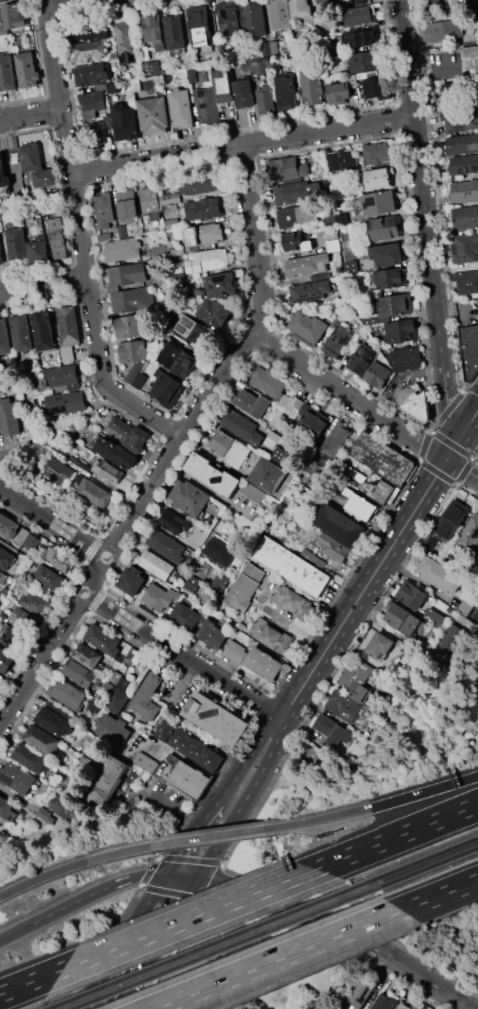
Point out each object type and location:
building: (470, 0)
road: (61, 2)
building: (327, 2)
building: (360, 2)
building: (432, 4)
building: (455, 5)
building: (300, 8)
building: (278, 14)
building: (355, 16)
building: (12, 17)
building: (251, 18)
building: (228, 19)
building: (199, 25)
building: (325, 27)
building: (446, 29)
building: (86, 30)
building: (153, 31)
building: (173, 31)
building: (358, 38)
building: (124, 42)
building: (270, 47)
building: (90, 49)
building: (220, 49)
building: (113, 54)
building: (206, 55)
building: (290, 55)
building: (471, 59)
building: (364, 61)
building: (256, 64)
road: (434, 65)
building: (151, 68)
building: (27, 69)
building: (6, 72)
building: (91, 73)
building: (191, 75)
building: (136, 84)
building: (222, 85)
building: (312, 86)
building: (112, 87)
building: (378, 87)
building: (454, 90)
building: (287, 92)
building: (243, 93)
building: (339, 94)
building: (265, 97)
building: (92, 100)
building: (206, 107)
building: (180, 108)
road: (31, 114)
building: (153, 116)
building: (461, 119)
building: (108, 120)
building: (124, 122)
building: (97, 133)
road: (66, 137)
road: (242, 144)
building: (462, 144)
building: (377, 153)
building: (30, 156)
building: (342, 160)
building: (463, 164)
building: (286, 169)
building: (3, 174)
building: (377, 177)
building: (44, 178)
building: (197, 184)
road: (421, 185)
building: (464, 191)
building: (293, 192)
building: (19, 195)
building: (169, 198)
building: (149, 199)
building: (379, 202)
building: (127, 205)
building: (103, 209)
building: (203, 209)
building: (297, 216)
building: (465, 217)
building: (342, 219)
building: (384, 228)
building: (121, 231)
building: (204, 234)
building: (104, 237)
building: (292, 237)
building: (58, 238)
road: (256, 240)
building: (16, 243)
building: (298, 245)
building: (333, 245)
building: (352, 245)
building: (175, 248)
building: (465, 248)
building: (122, 249)
building: (158, 250)
building: (38, 251)
building: (387, 254)
building: (349, 256)
building: (1, 257)
building: (207, 260)
building: (307, 264)
building: (350, 267)
building: (127, 274)
building: (390, 278)
building: (164, 280)
building: (466, 281)
road: (44, 282)
building: (221, 285)
building: (309, 291)
building: (131, 300)
road: (461, 300)
building: (390, 308)
building: (214, 312)
building: (67, 321)
building: (130, 324)
building: (308, 326)
building: (190, 328)
building: (42, 329)
building: (401, 330)
building: (20, 332)
building: (339, 336)
building: (3, 337)
building: (469, 350)
building: (133, 351)
building: (67, 353)
building: (361, 358)
building: (406, 358)
building: (177, 360)
building: (133, 372)
road: (310, 372)
building: (376, 374)
building: (61, 375)
road: (102, 376)
road: (398, 376)
building: (139, 380)
building: (267, 382)
road: (216, 385)
building: (166, 388)
building: (66, 402)
building: (250, 402)
road: (447, 403)
building: (294, 404)
building: (417, 406)
building: (8, 418)
road: (472, 418)
building: (312, 419)
building: (242, 427)
building: (129, 434)
road: (409, 435)
building: (272, 439)
building: (335, 441)
road: (456, 443)
building: (229, 447)
building: (115, 452)
road: (22, 453)
building: (280, 455)
building: (381, 458)
traffic signals: (447, 460)
building: (78, 461)
road: (462, 470)
building: (108, 471)
building: (60, 472)
building: (352, 472)
building: (212, 474)
building: (267, 474)
building: (307, 475)
road: (205, 488)
building: (380, 489)
building: (92, 491)
building: (256, 493)
building: (188, 497)
building: (359, 505)
building: (451, 519)
road: (53, 522)
building: (176, 523)
building: (9, 525)
building: (339, 525)
building: (470, 533)
building: (20, 536)
building: (31, 541)
building: (429, 544)
building: (165, 546)
building: (333, 547)
building: (219, 551)
building: (313, 557)
building: (6, 558)
building: (477, 559)
building: (57, 560)
building: (154, 564)
building: (234, 565)
building: (292, 566)
building: (18, 575)
building: (439, 575)
building: (2, 577)
building: (48, 578)
road: (91, 579)
building: (131, 579)
building: (192, 583)
building: (18, 585)
building: (244, 586)
road: (364, 588)
building: (4, 591)
building: (411, 594)
building: (1, 597)
building: (158, 597)
building: (292, 601)
building: (34, 603)
building: (465, 607)
building: (4, 614)
building: (395, 614)
building: (428, 617)
building: (185, 618)
building: (23, 619)
building: (413, 625)
building: (211, 634)
building: (270, 635)
building: (16, 638)
building: (451, 639)
building: (104, 640)
building: (401, 644)
building: (379, 646)
building: (235, 652)
road: (183, 654)
building: (87, 655)
building: (135, 655)
building: (6, 660)
building: (373, 661)
building: (262, 664)
building: (78, 672)
building: (355, 674)
building: (114, 677)
building: (1, 678)
road: (181, 680)
building: (359, 693)
building: (67, 695)
building: (118, 696)
building: (147, 697)
building: (341, 705)
building: (58, 710)
building: (215, 718)
building: (52, 721)
building: (113, 729)
building: (331, 729)
building: (41, 739)
building: (178, 739)
building: (93, 744)
road: (247, 757)
building: (31, 758)
building: (209, 759)
road: (184, 760)
building: (146, 762)
building: (17, 777)
building: (102, 780)
building: (188, 780)
road: (245, 800)
building: (63, 806)
road: (376, 808)
building: (7, 809)
road: (171, 809)
building: (45, 815)
road: (207, 815)
building: (0, 834)
road: (396, 835)
road: (215, 836)
road: (182, 851)
railway: (422, 858)
road: (77, 864)
railway: (428, 865)
traffic signals: (166, 874)
road: (181, 875)
traffic signals: (196, 877)
road: (205, 890)
road: (95, 891)
road: (439, 894)
road: (203, 904)
road: (187, 918)
road: (338, 932)
road: (15, 933)
park: (251, 939)
road: (121, 941)
road: (327, 941)
road: (153, 942)
railway: (205, 945)
railway: (223, 947)
road: (162, 949)
road: (295, 958)
road: (276, 959)
road: (296, 959)
park: (247, 966)
park: (247, 966)
road: (288, 977)
road: (30, 981)
building: (358, 995)
building: (383, 1001)
building: (403, 1006)

